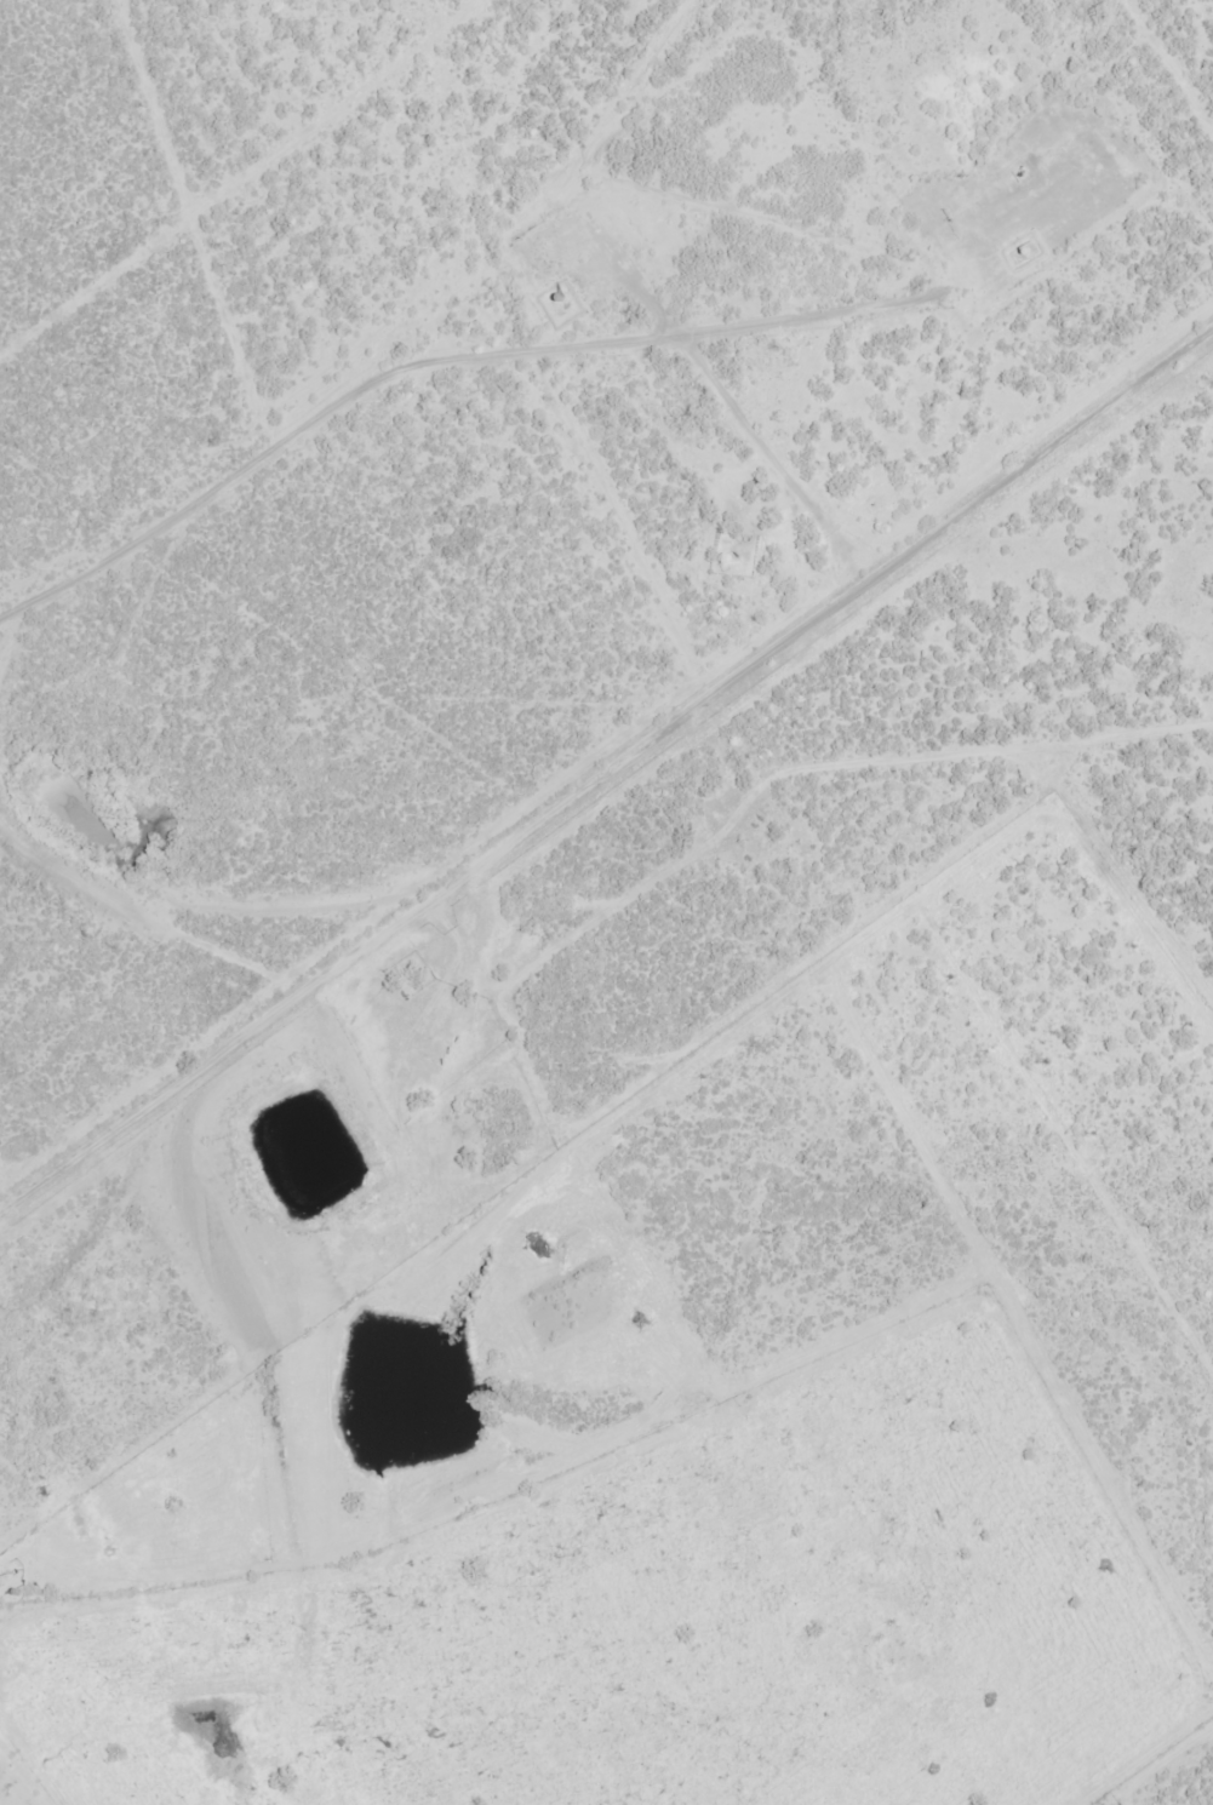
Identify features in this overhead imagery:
road: (606, 780)

